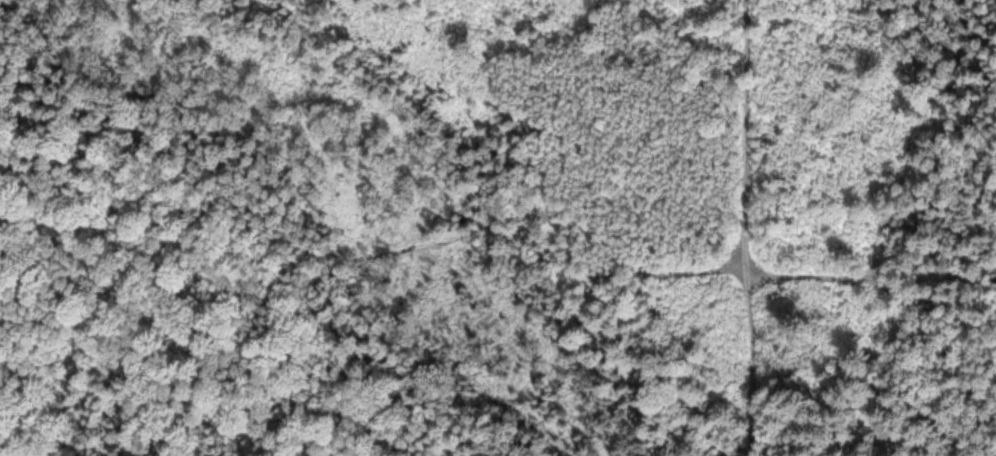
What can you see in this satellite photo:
road: (746, 261)
road: (750, 323)

